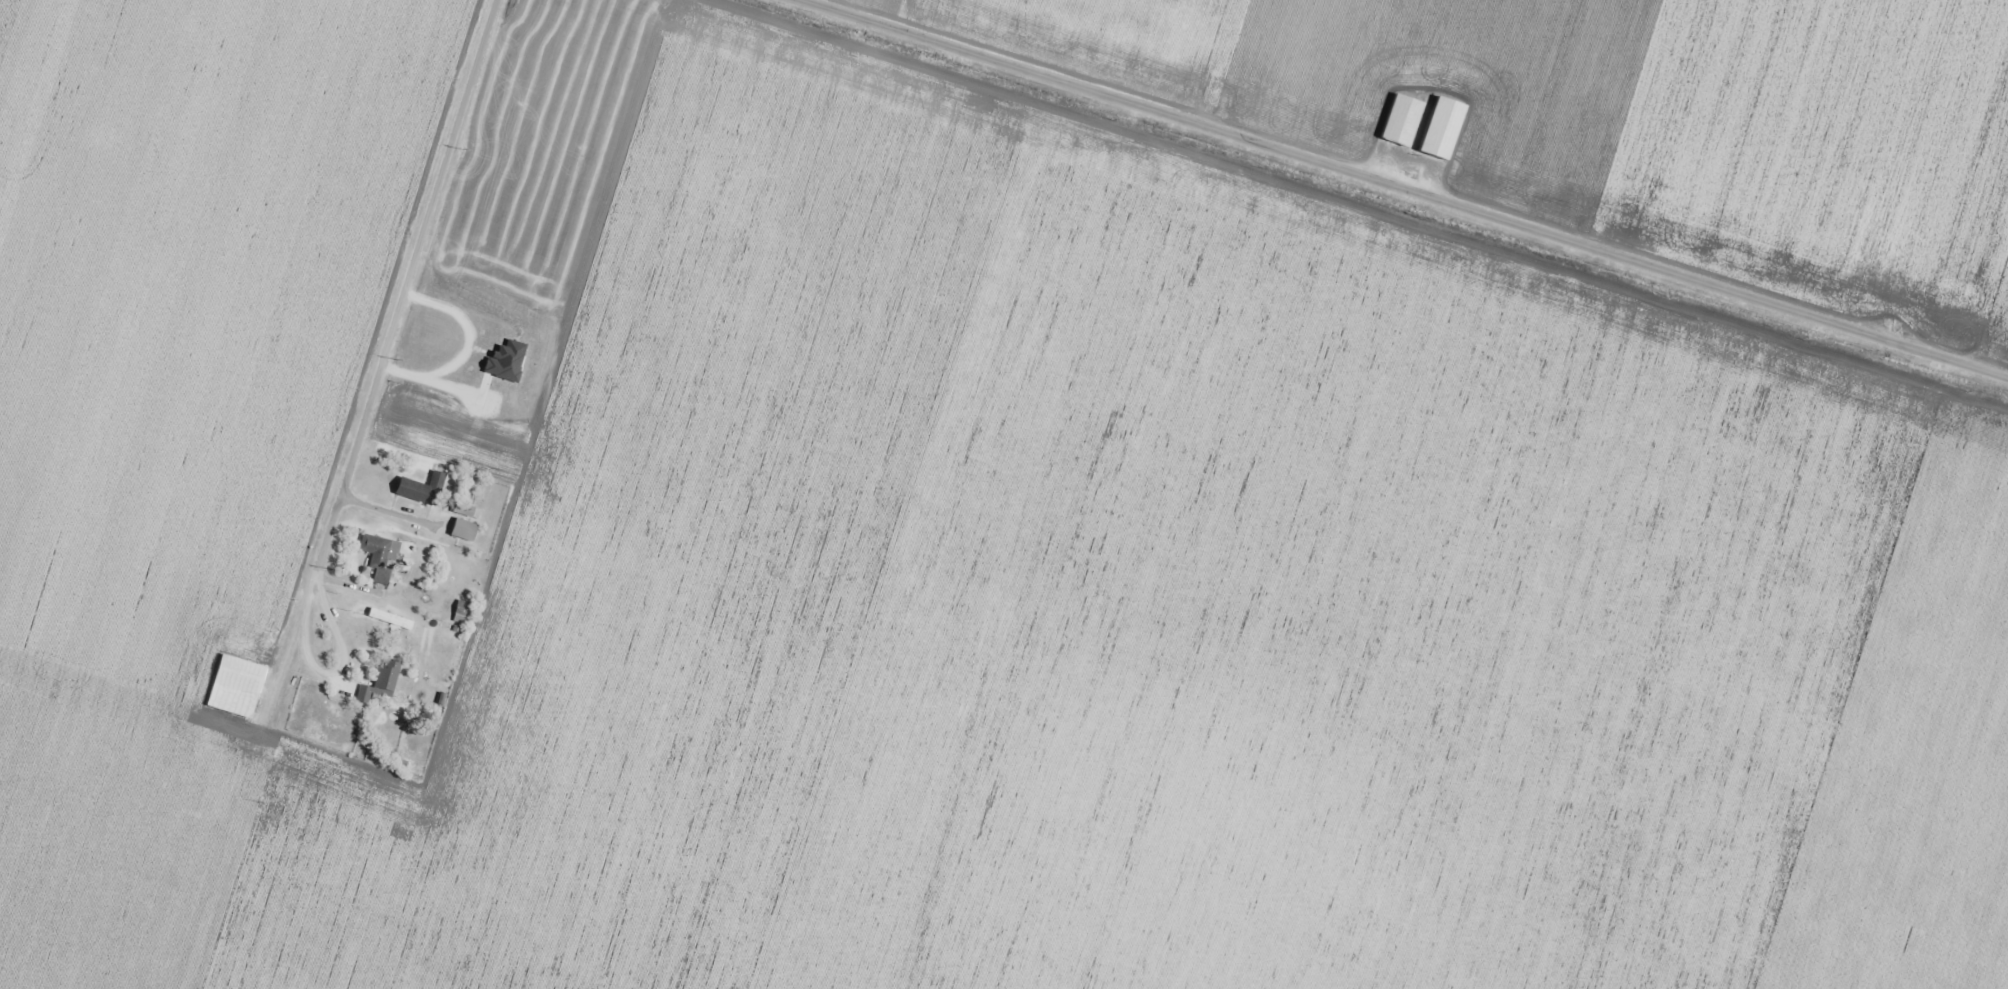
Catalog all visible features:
building: (1397, 121)
building: (1437, 129)
road: (1434, 180)
building: (583, 272)
building: (418, 489)
road: (370, 497)
building: (463, 510)
building: (459, 530)
building: (376, 556)
road: (377, 658)
building: (378, 681)
building: (231, 686)
building: (606, 716)
building: (535, 789)
building: (585, 891)
building: (412, 968)
building: (524, 988)

